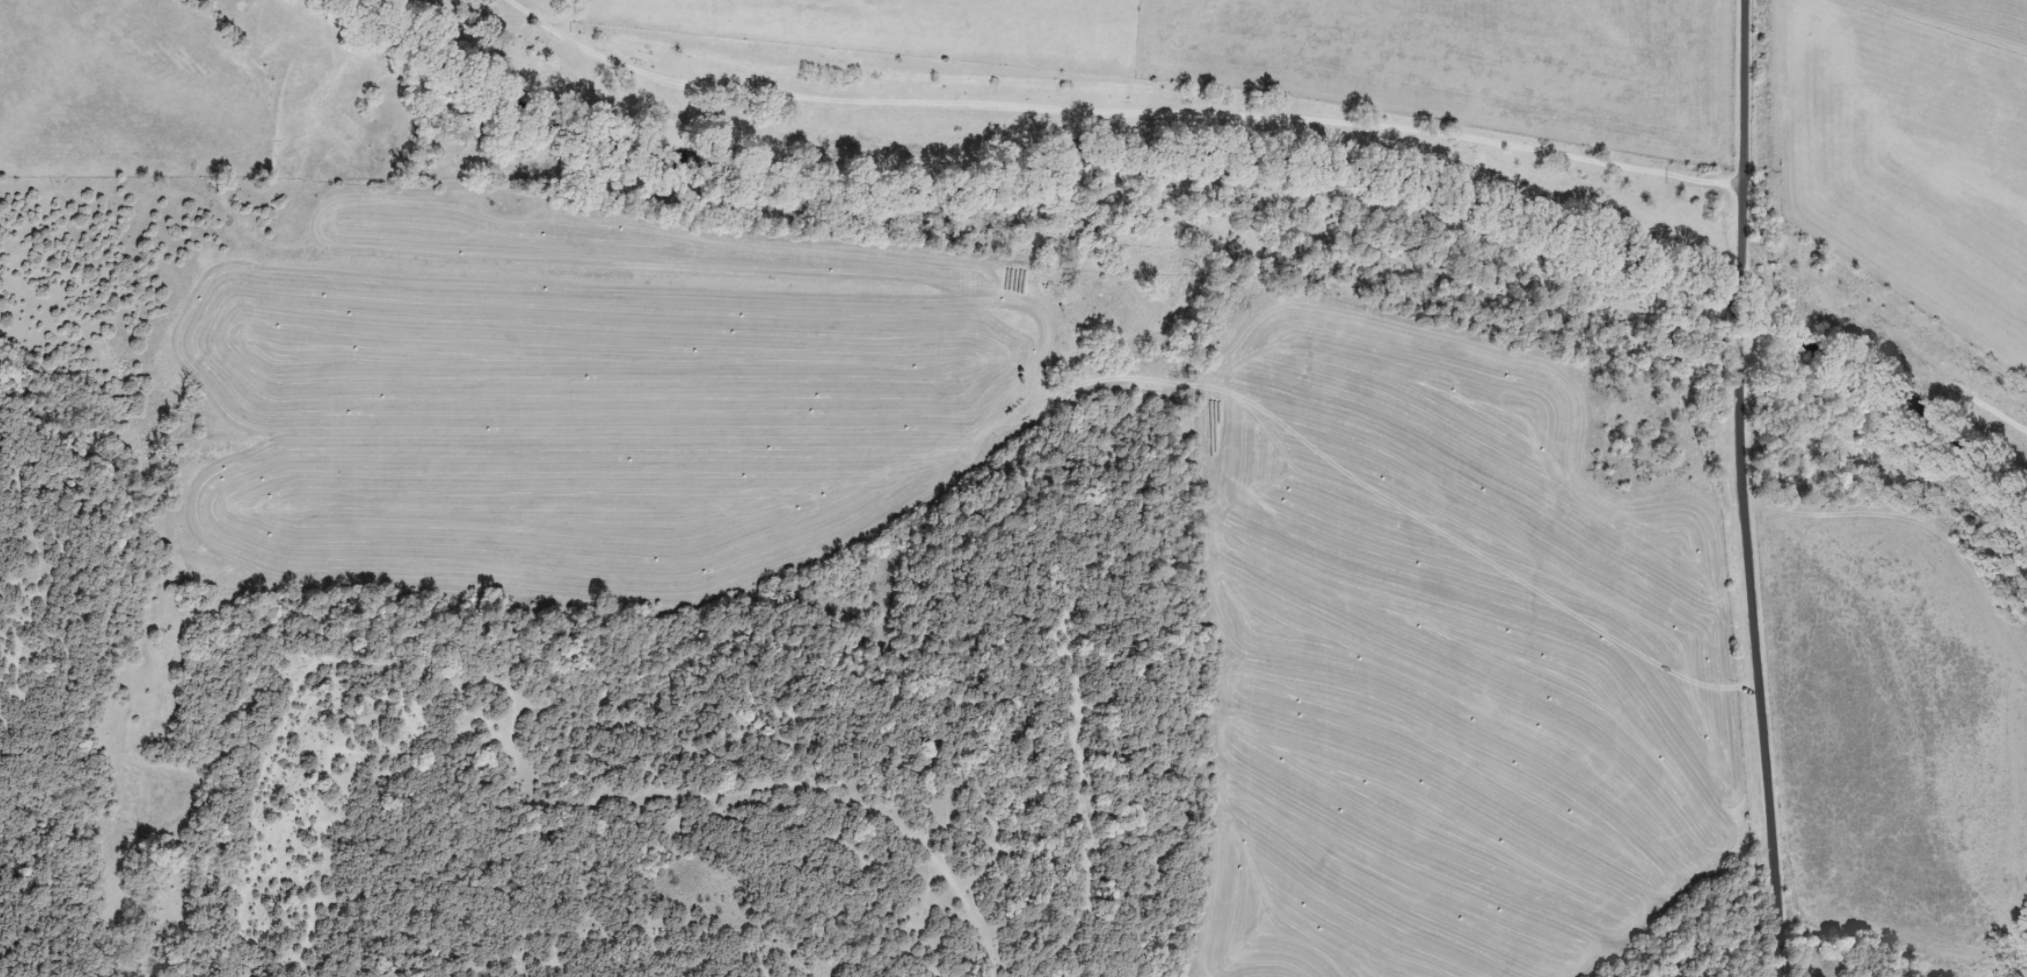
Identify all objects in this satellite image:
road: (1120, 111)
road: (1743, 153)
road: (1740, 322)
road: (1756, 657)
road: (642, 774)

